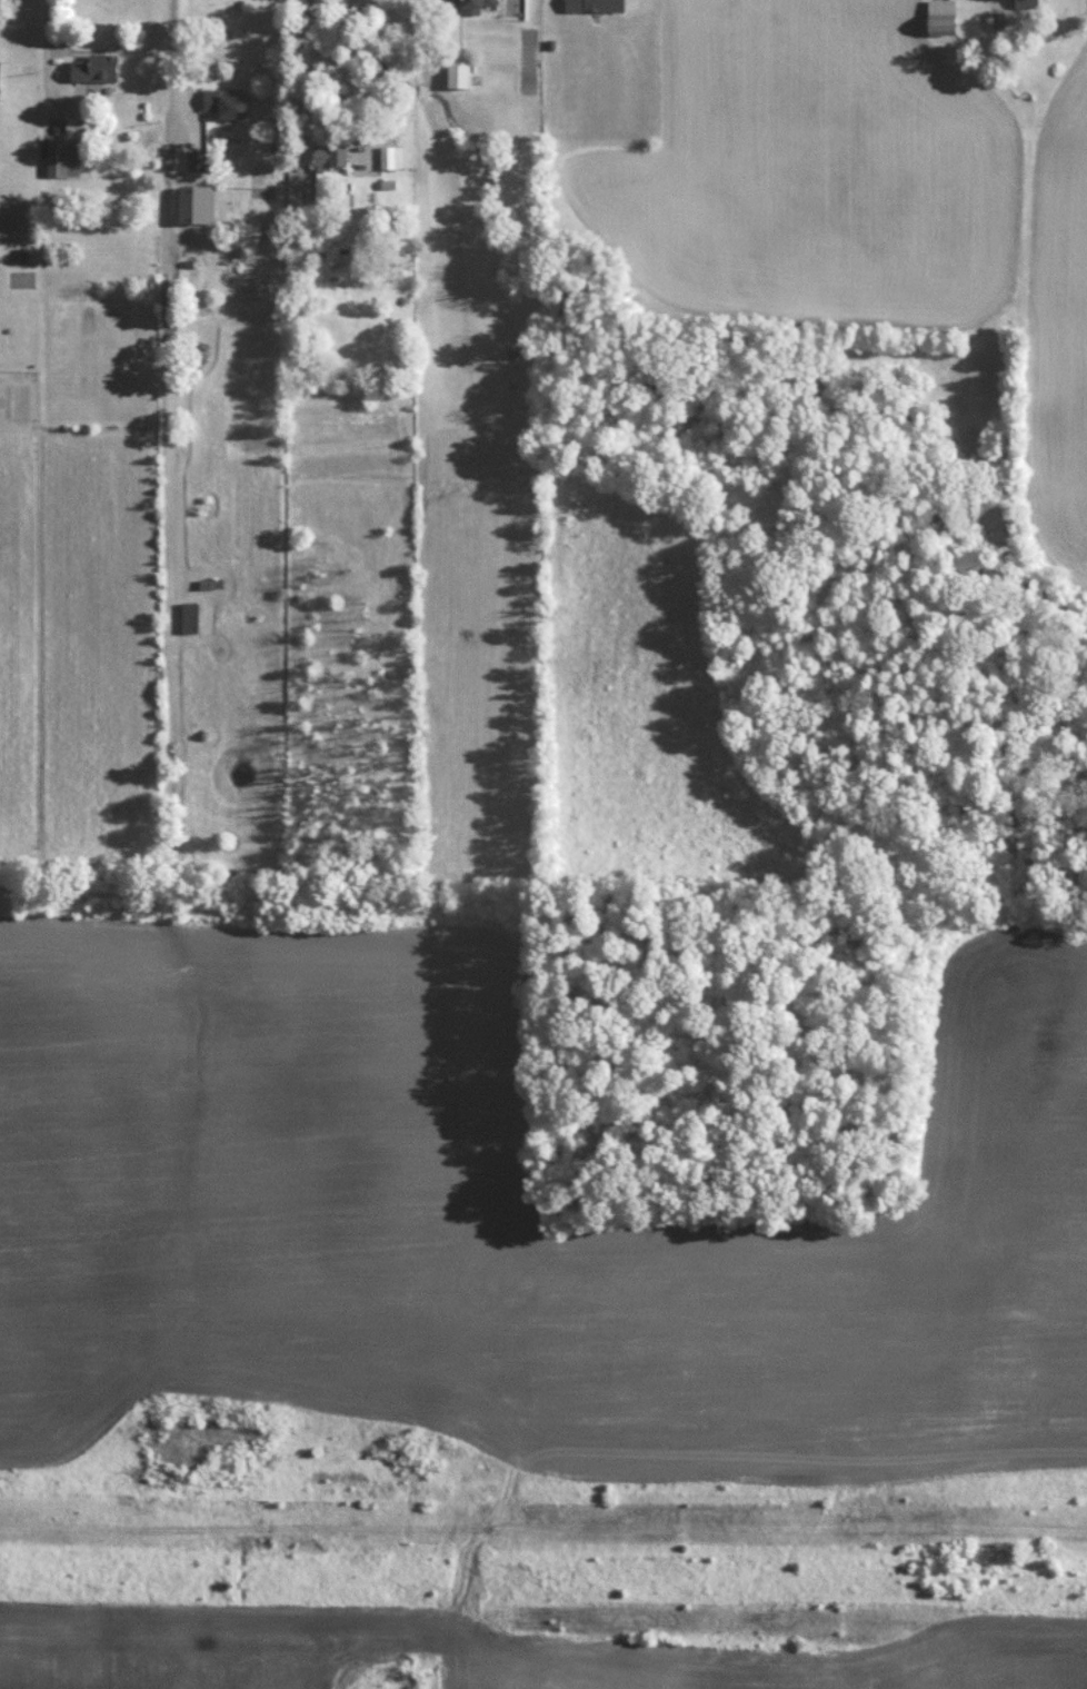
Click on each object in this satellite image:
building: (1027, 3)
building: (470, 4)
building: (596, 4)
building: (943, 17)
road: (177, 51)
road: (48, 54)
building: (96, 67)
road: (340, 67)
building: (460, 72)
building: (226, 101)
building: (330, 153)
building: (63, 156)
building: (392, 157)
building: (198, 159)
building: (199, 222)
building: (190, 626)

